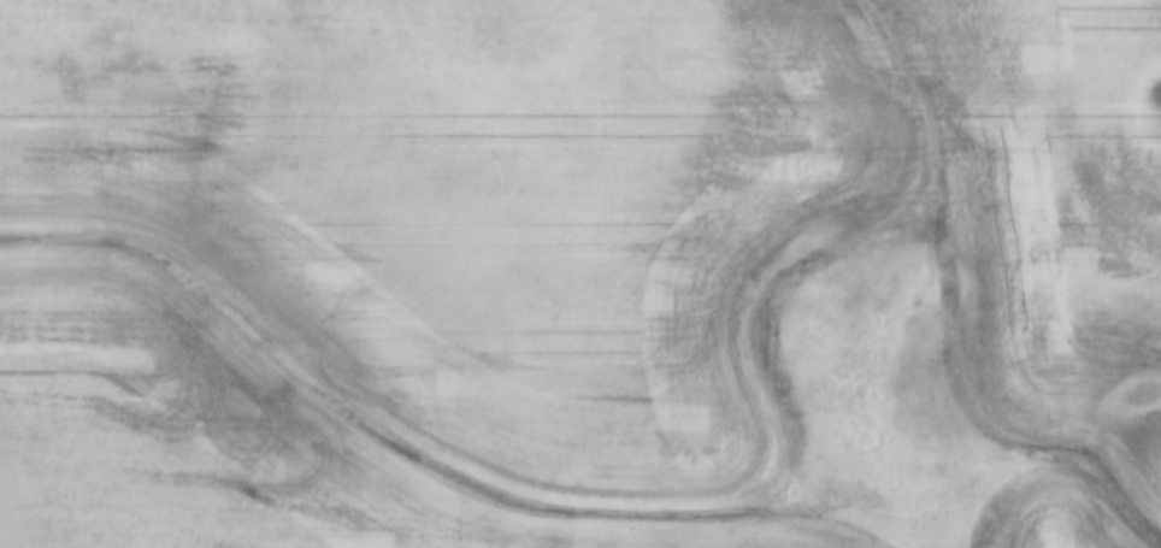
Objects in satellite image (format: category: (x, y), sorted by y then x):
road: (1049, 273)

